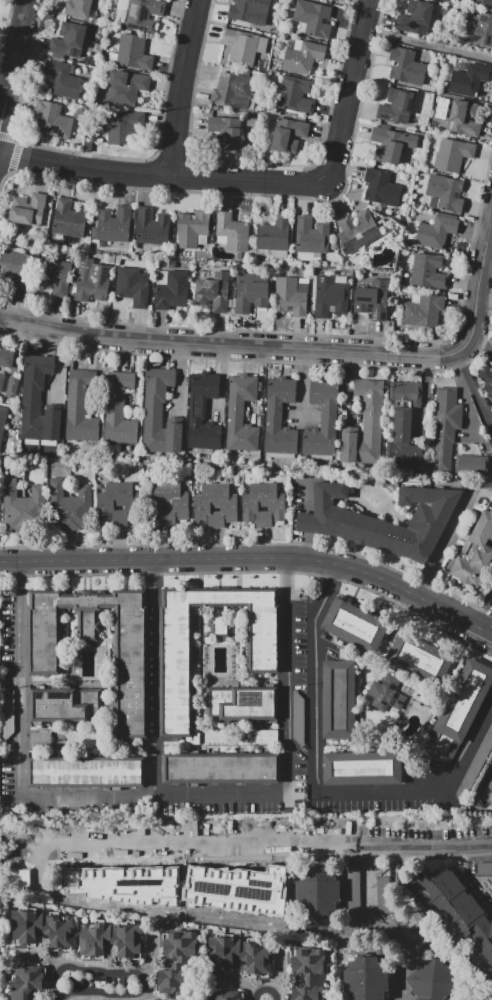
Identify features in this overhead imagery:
building: (336, 0)
building: (483, 1)
building: (290, 3)
building: (78, 8)
building: (246, 11)
building: (143, 14)
road: (378, 16)
park: (3, 17)
building: (416, 17)
building: (106, 18)
building: (257, 18)
building: (313, 18)
road: (6, 28)
building: (479, 30)
building: (128, 31)
building: (67, 41)
road: (428, 45)
building: (243, 46)
building: (133, 52)
building: (302, 56)
building: (111, 57)
building: (38, 62)
building: (406, 66)
road: (14, 68)
building: (38, 68)
building: (77, 71)
building: (275, 72)
building: (63, 79)
building: (469, 79)
building: (125, 87)
road: (183, 87)
road: (351, 90)
building: (234, 91)
building: (295, 95)
building: (73, 101)
building: (396, 106)
building: (463, 118)
building: (53, 120)
building: (123, 126)
building: (226, 132)
building: (288, 134)
building: (391, 144)
building: (87, 145)
road: (16, 147)
building: (453, 154)
road: (93, 155)
road: (173, 156)
road: (257, 166)
road: (162, 176)
building: (381, 187)
building: (446, 192)
road: (251, 194)
building: (28, 209)
building: (68, 219)
building: (400, 219)
building: (113, 225)
building: (152, 227)
building: (191, 228)
building: (357, 230)
building: (232, 231)
road: (489, 231)
building: (436, 232)
building: (274, 234)
building: (312, 235)
building: (102, 244)
building: (278, 254)
building: (308, 255)
building: (262, 258)
building: (172, 263)
building: (16, 267)
building: (428, 271)
building: (55, 275)
building: (162, 277)
building: (405, 278)
building: (142, 279)
building: (340, 279)
building: (92, 280)
building: (302, 280)
building: (131, 287)
building: (173, 291)
building: (314, 291)
building: (213, 292)
building: (250, 293)
building: (289, 296)
building: (330, 296)
building: (416, 298)
building: (373, 299)
road: (477, 299)
building: (423, 311)
road: (320, 334)
road: (190, 343)
road: (480, 348)
road: (419, 354)
building: (6, 357)
road: (274, 360)
road: (60, 363)
road: (180, 376)
building: (486, 380)
building: (2, 382)
road: (302, 382)
road: (222, 383)
road: (260, 385)
building: (11, 387)
road: (348, 387)
road: (474, 391)
building: (404, 392)
road: (425, 393)
building: (38, 401)
building: (81, 404)
building: (118, 408)
building: (203, 411)
building: (159, 412)
building: (242, 414)
building: (279, 416)
road: (301, 416)
building: (322, 419)
building: (3, 422)
building: (366, 425)
building: (445, 428)
building: (406, 440)
building: (491, 444)
building: (231, 462)
building: (472, 464)
building: (156, 502)
building: (109, 503)
building: (128, 503)
building: (177, 503)
building: (254, 504)
building: (273, 504)
building: (206, 505)
building: (225, 505)
building: (12, 506)
building: (59, 506)
building: (81, 508)
building: (34, 509)
building: (383, 521)
road: (444, 542)
road: (253, 544)
building: (475, 552)
road: (212, 557)
road: (19, 567)
road: (255, 572)
road: (447, 611)
road: (485, 613)
building: (355, 625)
road: (485, 630)
building: (176, 655)
building: (131, 658)
building: (420, 659)
road: (287, 676)
road: (156, 678)
road: (316, 678)
building: (386, 693)
building: (338, 699)
building: (241, 703)
building: (65, 704)
building: (459, 712)
building: (299, 720)
building: (266, 737)
building: (41, 739)
road: (464, 750)
building: (474, 764)
building: (221, 768)
building: (363, 768)
building: (86, 772)
parking lot: (486, 788)
road: (372, 794)
road: (45, 797)
road: (185, 840)
parking lot: (297, 840)
road: (338, 842)
building: (484, 868)
road: (368, 879)
building: (233, 882)
building: (100, 885)
building: (382, 888)
building: (354, 889)
building: (317, 891)
building: (455, 911)
building: (26, 927)
building: (59, 929)
building: (111, 939)
building: (241, 955)
road: (40, 956)
road: (151, 958)
building: (176, 961)
road: (279, 972)
building: (309, 973)
road: (137, 974)
building: (100, 978)
building: (366, 979)
building: (432, 980)
building: (25, 981)
road: (237, 982)
road: (265, 989)
road: (58, 994)
road: (146, 994)
building: (226, 995)
road: (489, 998)

